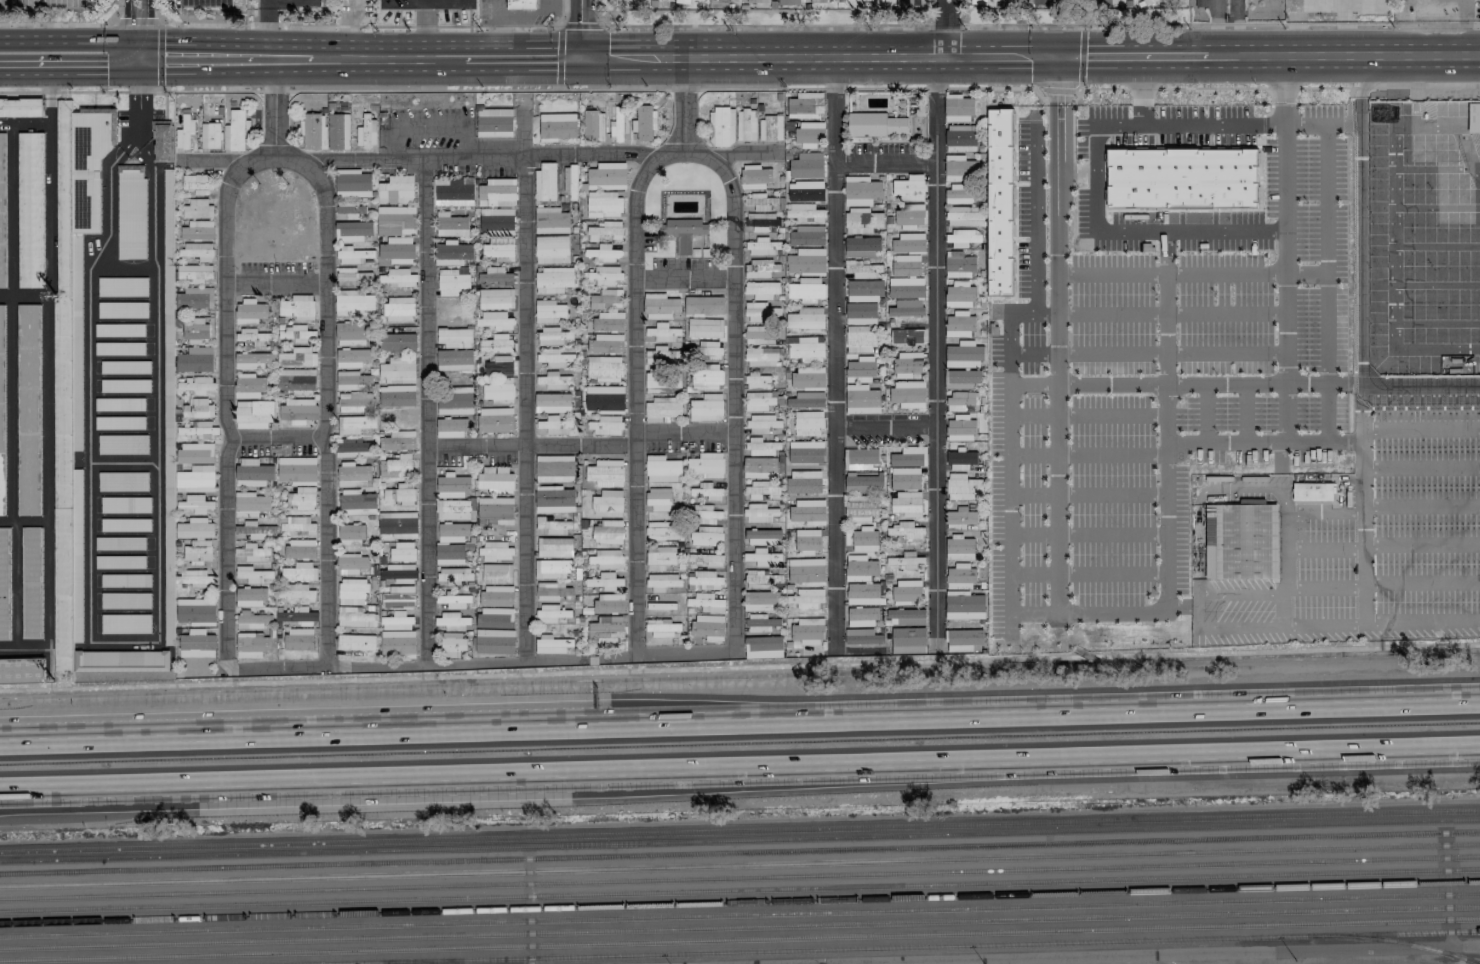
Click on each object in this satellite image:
building: (680, 1)
building: (818, 1)
building: (1149, 1)
building: (978, 2)
building: (1037, 2)
building: (1103, 2)
parking lot: (250, 3)
building: (756, 3)
building: (914, 3)
building: (1199, 3)
parking lot: (290, 4)
road: (447, 4)
building: (520, 4)
road: (598, 12)
road: (135, 18)
road: (1279, 23)
road: (66, 24)
road: (945, 24)
road: (1023, 24)
road: (762, 25)
road: (139, 26)
road: (364, 26)
road: (428, 26)
road: (265, 29)
road: (1404, 29)
road: (1235, 30)
road: (497, 31)
road: (557, 31)
road: (583, 31)
road: (940, 31)
road: (956, 31)
road: (71, 40)
road: (160, 55)
road: (224, 56)
road: (387, 60)
road: (1343, 60)
road: (1133, 61)
road: (524, 62)
road: (821, 63)
road: (72, 72)
road: (1079, 80)
road: (1371, 87)
road: (1178, 88)
road: (740, 89)
road: (996, 89)
road: (364, 90)
road: (121, 91)
road: (1286, 91)
road: (47, 92)
road: (139, 93)
road: (1142, 93)
road: (165, 103)
road: (683, 106)
building: (804, 106)
building: (21, 107)
road: (272, 107)
building: (958, 108)
road: (1028, 121)
road: (1263, 121)
building: (644, 122)
building: (494, 123)
road: (1323, 123)
road: (1453, 123)
building: (619, 124)
building: (746, 125)
building: (875, 125)
building: (721, 126)
building: (557, 127)
building: (770, 128)
building: (313, 130)
building: (236, 131)
building: (338, 131)
building: (366, 131)
building: (184, 132)
road: (137, 133)
building: (809, 134)
building: (210, 135)
building: (961, 139)
building: (162, 141)
road: (744, 153)
road: (275, 156)
road: (486, 156)
building: (806, 165)
road: (885, 165)
building: (961, 168)
road: (1064, 172)
building: (607, 176)
building: (755, 176)
road: (1095, 178)
building: (1182, 178)
building: (570, 181)
building: (545, 182)
building: (352, 183)
building: (197, 184)
building: (908, 188)
building: (396, 190)
building: (806, 191)
building: (861, 191)
building: (452, 192)
building: (497, 193)
road: (1289, 197)
building: (1000, 202)
building: (603, 203)
road: (47, 205)
building: (197, 208)
building: (350, 208)
building: (30, 210)
road: (1106, 210)
building: (131, 212)
building: (168, 212)
building: (805, 213)
building: (2, 216)
building: (910, 216)
road: (1034, 217)
building: (551, 220)
building: (396, 221)
building: (862, 221)
building: (763, 222)
road: (1015, 222)
road: (1056, 223)
building: (451, 225)
building: (197, 230)
building: (605, 230)
building: (352, 231)
building: (686, 234)
building: (807, 236)
road: (1353, 237)
building: (964, 238)
building: (909, 243)
building: (862, 246)
building: (762, 247)
road: (1393, 247)
building: (499, 248)
building: (552, 249)
building: (397, 250)
building: (198, 251)
building: (452, 253)
building: (604, 253)
road: (1324, 254)
building: (353, 255)
building: (806, 261)
road: (123, 263)
building: (958, 265)
building: (906, 266)
building: (760, 269)
building: (863, 269)
building: (195, 273)
road: (1173, 273)
road: (1307, 273)
building: (605, 275)
building: (495, 276)
building: (353, 277)
building: (398, 278)
road: (684, 278)
building: (553, 280)
road: (275, 282)
building: (453, 282)
building: (905, 286)
building: (762, 289)
building: (806, 290)
building: (865, 290)
building: (959, 296)
building: (195, 298)
building: (496, 299)
building: (607, 299)
building: (354, 302)
building: (705, 302)
building: (660, 306)
building: (298, 307)
building: (907, 308)
road: (1166, 308)
building: (399, 310)
building: (250, 311)
building: (548, 311)
building: (451, 313)
building: (761, 313)
building: (861, 313)
road: (1172, 314)
building: (805, 319)
building: (496, 320)
building: (609, 321)
building: (959, 324)
road: (1010, 326)
building: (196, 328)
building: (705, 328)
road: (1290, 328)
building: (663, 332)
building: (297, 333)
building: (351, 334)
building: (758, 335)
building: (253, 336)
building: (552, 336)
building: (907, 336)
building: (455, 338)
building: (860, 340)
building: (397, 342)
building: (496, 344)
building: (605, 344)
building: (805, 349)
building: (708, 350)
road: (937, 351)
road: (833, 354)
road: (1173, 354)
building: (71, 356)
building: (663, 356)
building: (963, 356)
building: (298, 357)
building: (351, 358)
building: (554, 358)
building: (760, 358)
building: (195, 360)
building: (253, 360)
building: (454, 360)
building: (907, 364)
building: (499, 366)
building: (604, 368)
building: (861, 369)
building: (398, 370)
building: (807, 377)
building: (663, 378)
building: (707, 379)
building: (961, 379)
building: (353, 380)
building: (297, 381)
building: (555, 381)
building: (757, 381)
building: (195, 384)
road: (1189, 384)
building: (249, 386)
road: (734, 386)
road: (635, 388)
building: (498, 391)
road: (1470, 391)
road: (1398, 392)
road: (1412, 392)
road: (1455, 392)
road: (1426, 393)
road: (1440, 393)
building: (908, 394)
building: (397, 395)
road: (1420, 397)
building: (605, 398)
building: (861, 399)
building: (806, 400)
building: (960, 400)
building: (354, 401)
building: (456, 401)
building: (759, 401)
building: (553, 403)
building: (1, 407)
road: (526, 407)
building: (197, 408)
building: (707, 408)
road: (1402, 408)
building: (27, 409)
building: (662, 409)
building: (297, 411)
road: (425, 411)
road: (1205, 413)
road: (1245, 413)
road: (1289, 413)
building: (254, 414)
road: (1110, 414)
road: (1032, 415)
building: (400, 418)
building: (495, 420)
building: (762, 423)
building: (808, 423)
building: (355, 424)
building: (555, 424)
building: (611, 425)
road: (885, 427)
building: (451, 428)
building: (198, 429)
building: (960, 429)
road: (1420, 429)
road: (685, 431)
road: (276, 437)
building: (398, 441)
road: (1274, 443)
building: (762, 446)
road: (531, 447)
building: (353, 448)
building: (806, 452)
building: (195, 453)
road: (1032, 453)
road: (1110, 454)
building: (861, 458)
building: (910, 459)
building: (961, 460)
road: (113, 463)
building: (706, 465)
building: (396, 466)
road: (1279, 466)
building: (759, 467)
building: (554, 468)
building: (662, 469)
building: (297, 470)
building: (253, 473)
building: (606, 473)
building: (353, 475)
road: (1361, 476)
building: (905, 478)
building: (196, 479)
building: (496, 479)
building: (804, 483)
building: (862, 483)
building: (453, 486)
building: (962, 487)
building: (762, 490)
building: (705, 491)
building: (1312, 492)
road: (1110, 493)
building: (401, 494)
road: (1032, 494)
road: (1166, 497)
building: (302, 498)
building: (658, 499)
road: (1055, 499)
building: (357, 501)
building: (250, 504)
building: (608, 504)
building: (907, 504)
building: (861, 508)
building: (455, 510)
building: (495, 510)
building: (358, 511)
building: (808, 511)
building: (759, 513)
building: (705, 514)
building: (960, 519)
building: (398, 524)
building: (554, 525)
building: (298, 526)
building: (259, 529)
building: (907, 531)
road: (1196, 531)
building: (454, 532)
building: (610, 534)
road: (1087, 535)
building: (706, 536)
building: (762, 536)
building: (197, 539)
building: (865, 539)
building: (1241, 540)
building: (673, 543)
building: (554, 547)
building: (300, 548)
building: (960, 548)
building: (351, 550)
building: (403, 551)
building: (252, 552)
building: (496, 552)
building: (449, 554)
road: (1009, 555)
building: (764, 558)
building: (607, 559)
building: (705, 559)
building: (904, 560)
building: (551, 569)
building: (806, 571)
building: (299, 572)
building: (497, 573)
road: (1087, 573)
building: (253, 574)
building: (456, 576)
building: (762, 577)
building: (961, 577)
building: (195, 578)
building: (703, 580)
building: (607, 581)
building: (863, 581)
building: (662, 582)
building: (30, 583)
building: (4, 585)
building: (353, 591)
building: (551, 591)
building: (907, 591)
building: (296, 592)
building: (497, 596)
building: (250, 597)
building: (399, 597)
building: (807, 599)
building: (454, 601)
building: (760, 601)
building: (609, 602)
building: (706, 602)
building: (965, 605)
building: (196, 612)
building: (553, 614)
building: (298, 615)
building: (907, 616)
building: (354, 617)
building: (862, 617)
building: (495, 618)
building: (252, 620)
building: (397, 621)
building: (452, 622)
road: (1421, 622)
building: (760, 623)
building: (606, 627)
building: (708, 627)
building: (661, 628)
building: (808, 630)
building: (862, 637)
building: (299, 639)
building: (963, 639)
building: (908, 640)
building: (495, 641)
building: (356, 642)
building: (398, 643)
building: (197, 644)
building: (550, 644)
building: (251, 645)
building: (764, 647)
road: (481, 661)
building: (21, 671)
road: (1044, 718)
road: (333, 738)
road: (29, 743)
road: (29, 746)
road: (739, 773)
road: (61, 797)
railway: (740, 831)
railway: (740, 840)
railway: (740, 852)
railway: (740, 865)
railway: (740, 878)
railway: (740, 890)
railway: (740, 903)
railway: (740, 915)
railway: (740, 928)
railway: (740, 940)
railway: (1393, 941)
railway: (883, 947)
road: (1169, 954)
railway: (415, 962)

